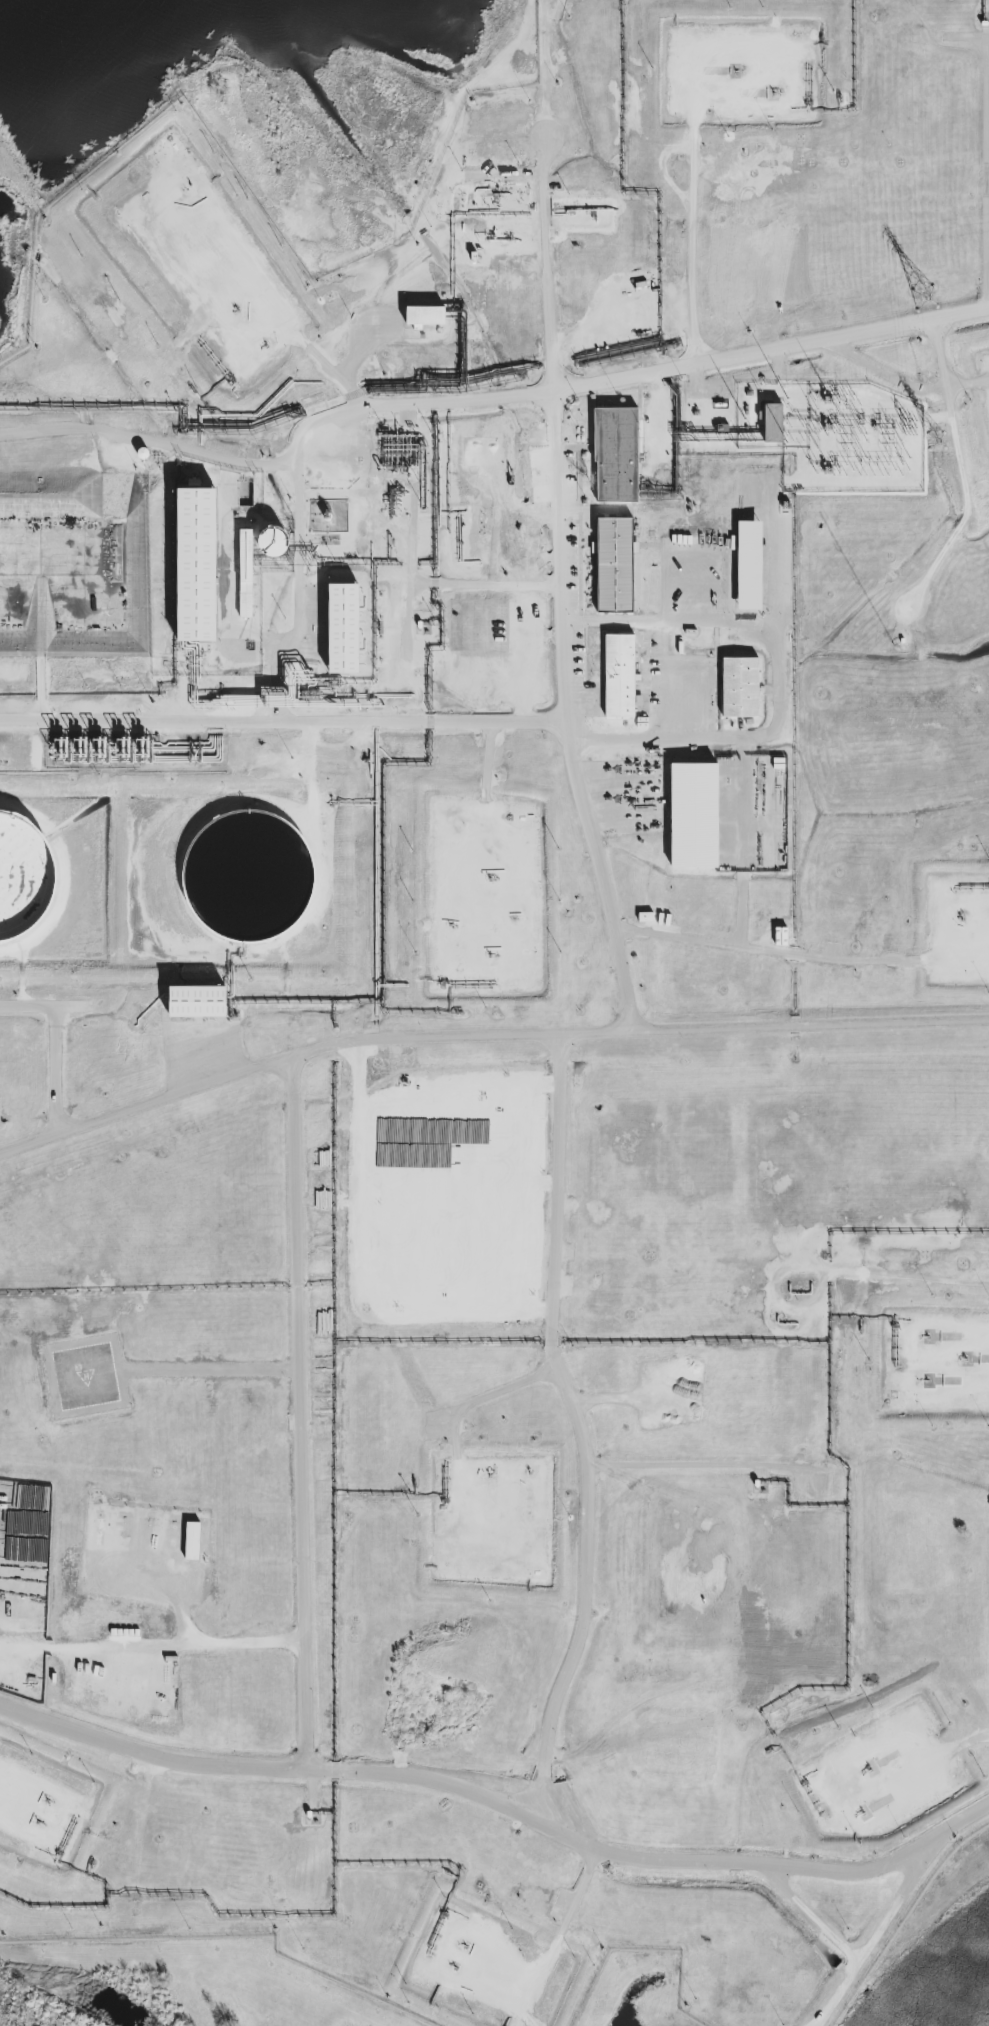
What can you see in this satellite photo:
road: (986, 181)
road: (693, 216)
power tower: (921, 299)
building: (423, 317)
road: (912, 390)
road: (480, 405)
building: (772, 424)
power tower: (910, 428)
power substation: (833, 436)
power tower: (934, 440)
building: (613, 456)
road: (299, 502)
building: (274, 544)
building: (191, 564)
building: (613, 566)
building: (746, 566)
building: (20, 578)
road: (426, 586)
road: (502, 587)
road: (564, 589)
building: (340, 628)
building: (618, 676)
road: (779, 684)
building: (738, 686)
road: (282, 719)
building: (692, 817)
building: (21, 874)
storage tank: (21, 874)
building: (240, 874)
storage tank: (240, 874)
building: (780, 937)
road: (754, 947)
building: (196, 1002)
road: (485, 1040)
road: (52, 1051)
building: (407, 1174)
building: (418, 1281)
road: (299, 1419)
road: (583, 1429)
building: (97, 1528)
road: (153, 1651)
road: (507, 1803)
road: (810, 1920)
road: (877, 1933)

